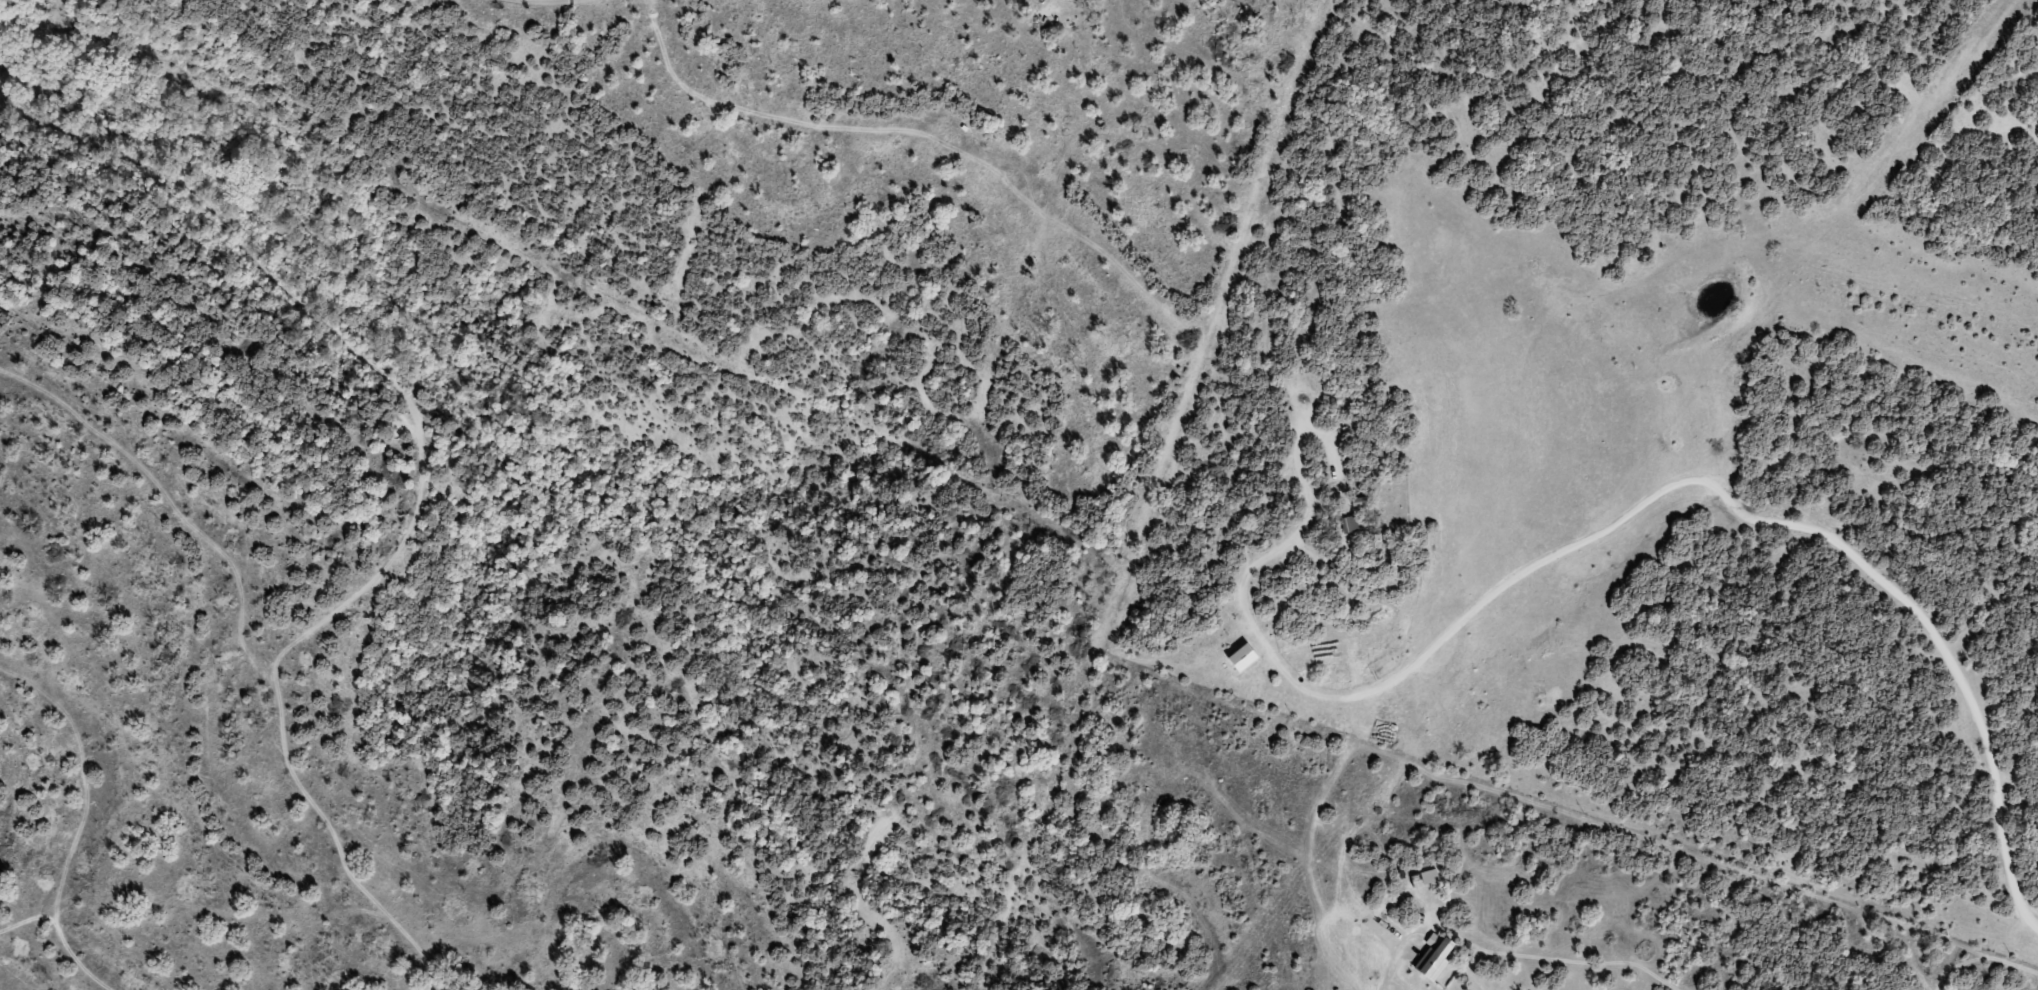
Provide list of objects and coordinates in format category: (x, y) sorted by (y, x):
building: (1349, 524)
building: (1435, 958)

